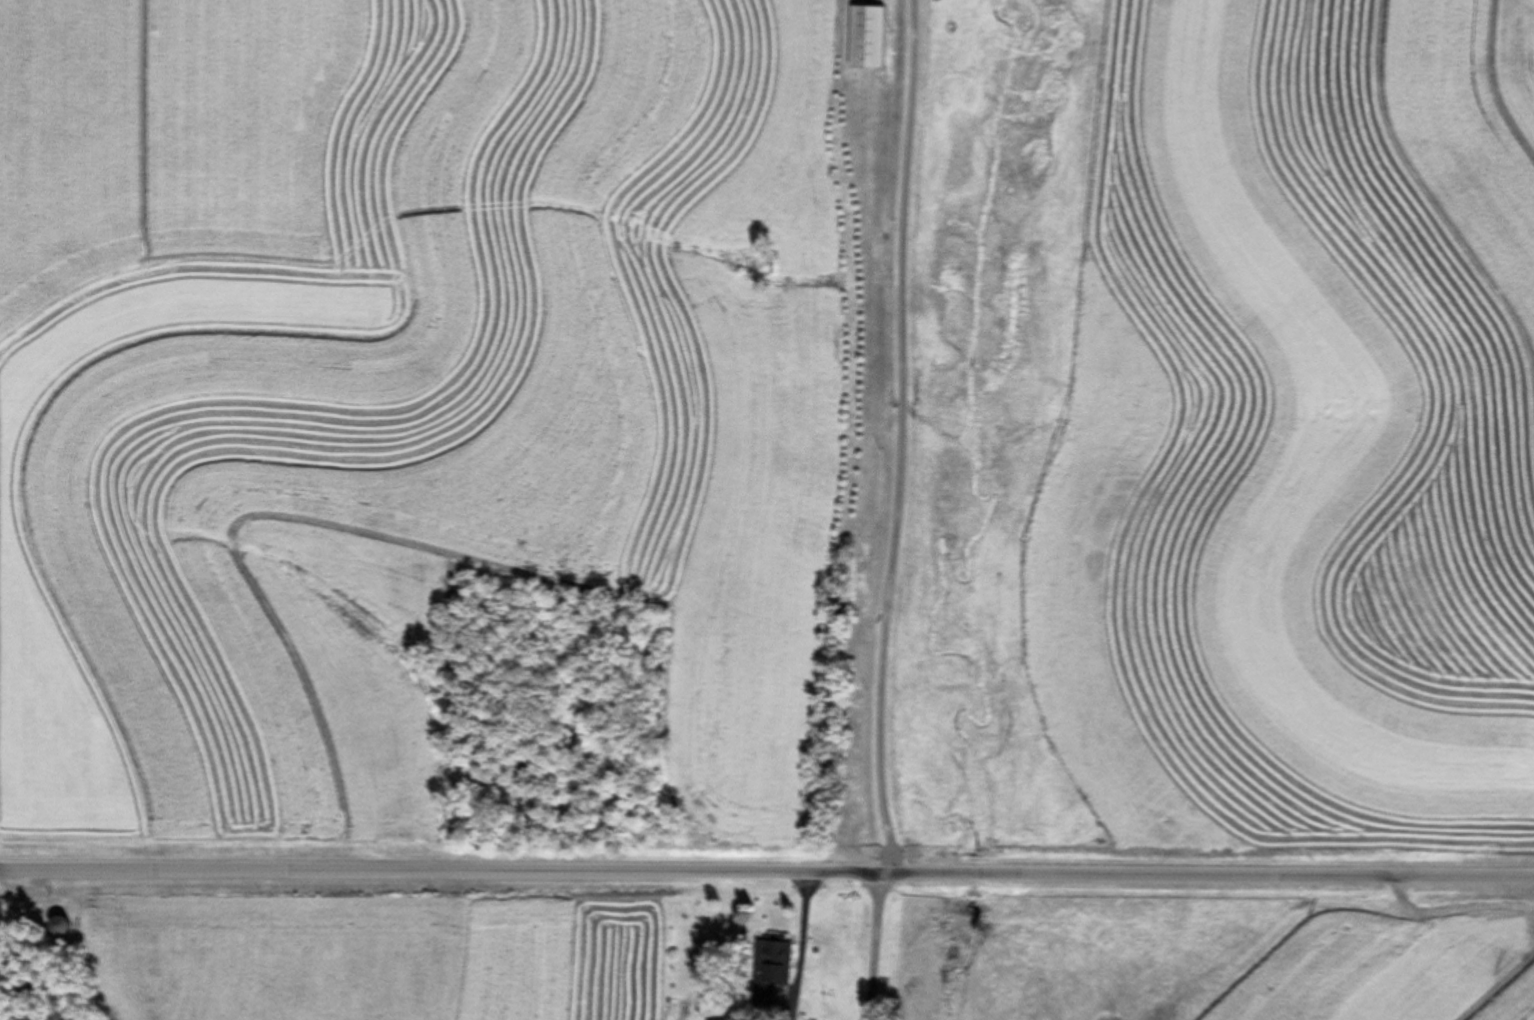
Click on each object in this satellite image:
building: (863, 36)
road: (893, 438)
road: (766, 873)
building: (69, 928)
road: (808, 948)
road: (882, 948)
building: (767, 971)

